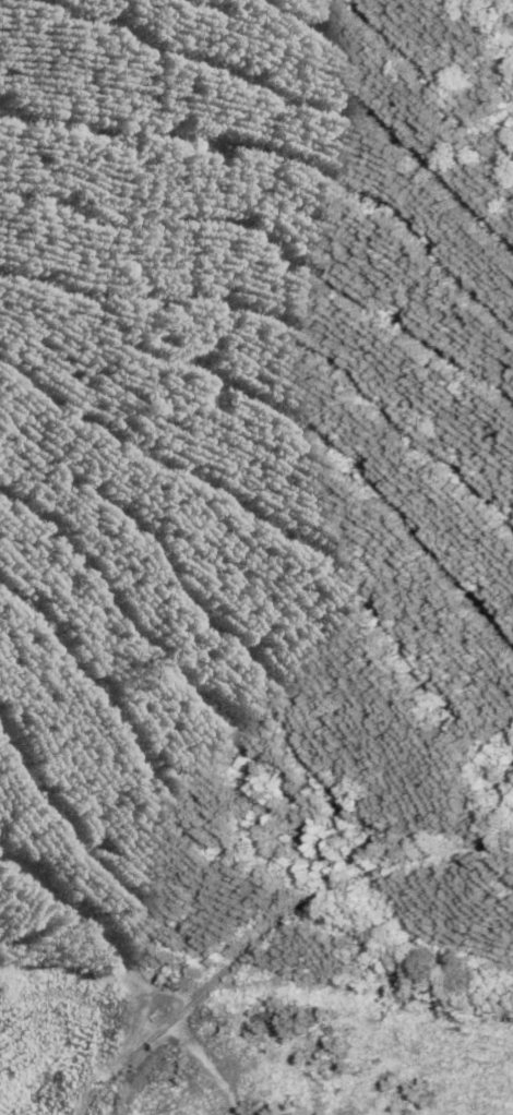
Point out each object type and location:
road: (414, 105)
road: (266, 930)

